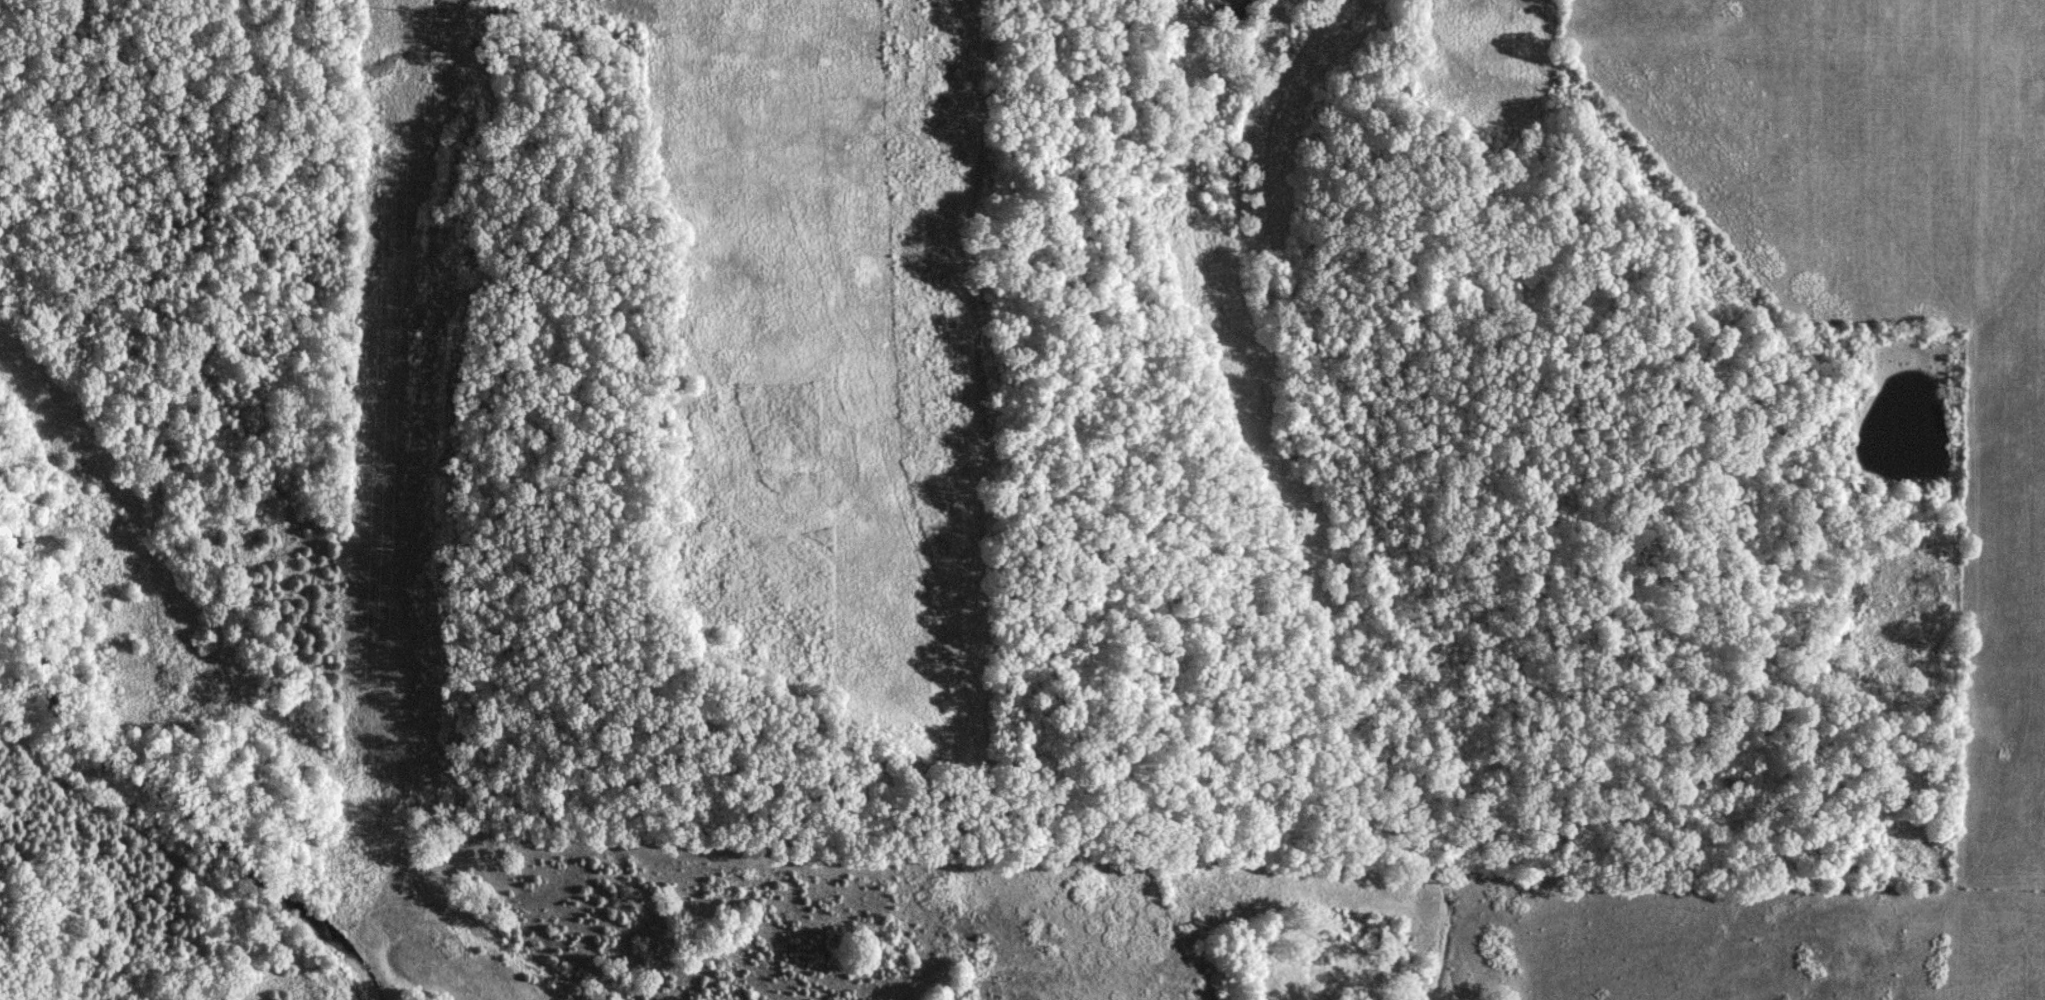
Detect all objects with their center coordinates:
power tower: (381, 553)

